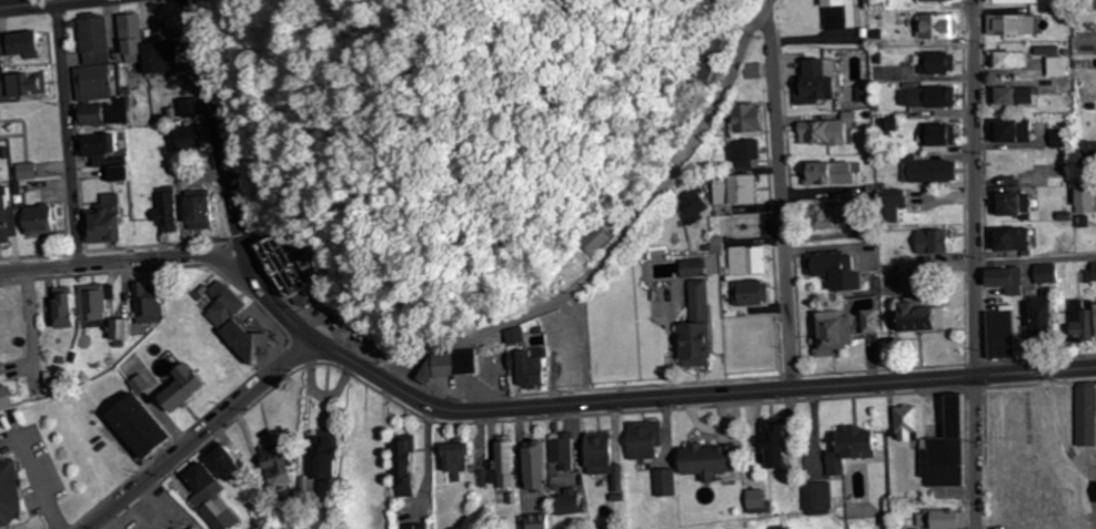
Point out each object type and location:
road: (187, 0)
building: (936, 1)
building: (1017, 1)
road: (31, 3)
building: (876, 4)
building: (834, 16)
building: (1005, 27)
building: (934, 28)
building: (128, 41)
building: (19, 45)
building: (160, 59)
building: (1008, 63)
building: (933, 64)
building: (1053, 64)
building: (93, 80)
building: (814, 84)
building: (19, 89)
building: (1010, 98)
building: (928, 99)
building: (747, 121)
road: (212, 128)
road: (57, 133)
building: (822, 133)
building: (1014, 133)
building: (936, 139)
building: (187, 140)
building: (1059, 140)
building: (737, 155)
building: (1083, 156)
building: (104, 157)
building: (1018, 167)
building: (23, 173)
building: (925, 173)
building: (827, 175)
building: (734, 192)
building: (1086, 200)
road: (777, 202)
building: (1012, 206)
building: (198, 212)
building: (161, 214)
building: (4, 217)
building: (821, 218)
building: (36, 221)
building: (102, 222)
building: (740, 230)
building: (1012, 243)
building: (934, 244)
road: (609, 254)
road: (120, 258)
road: (1033, 260)
building: (742, 262)
road: (969, 264)
building: (290, 265)
building: (836, 271)
building: (1093, 272)
building: (913, 273)
building: (1046, 274)
building: (1005, 279)
building: (747, 294)
building: (94, 304)
building: (144, 306)
building: (64, 308)
building: (925, 317)
building: (1046, 318)
building: (1080, 322)
building: (871, 323)
building: (231, 324)
building: (696, 327)
building: (833, 335)
building: (1002, 335)
building: (525, 363)
building: (459, 364)
building: (589, 366)
building: (184, 390)
building: (6, 399)
road: (639, 400)
building: (1087, 415)
building: (148, 425)
building: (907, 425)
road: (197, 434)
building: (645, 441)
building: (778, 446)
building: (856, 447)
building: (951, 448)
building: (565, 452)
building: (605, 456)
building: (325, 459)
building: (459, 460)
building: (712, 460)
building: (502, 464)
building: (539, 467)
building: (408, 468)
building: (219, 471)
building: (666, 484)
building: (305, 492)
building: (11, 494)
building: (821, 498)
building: (572, 503)
building: (943, 520)
building: (542, 523)
building: (416, 527)
building: (200, 528)

